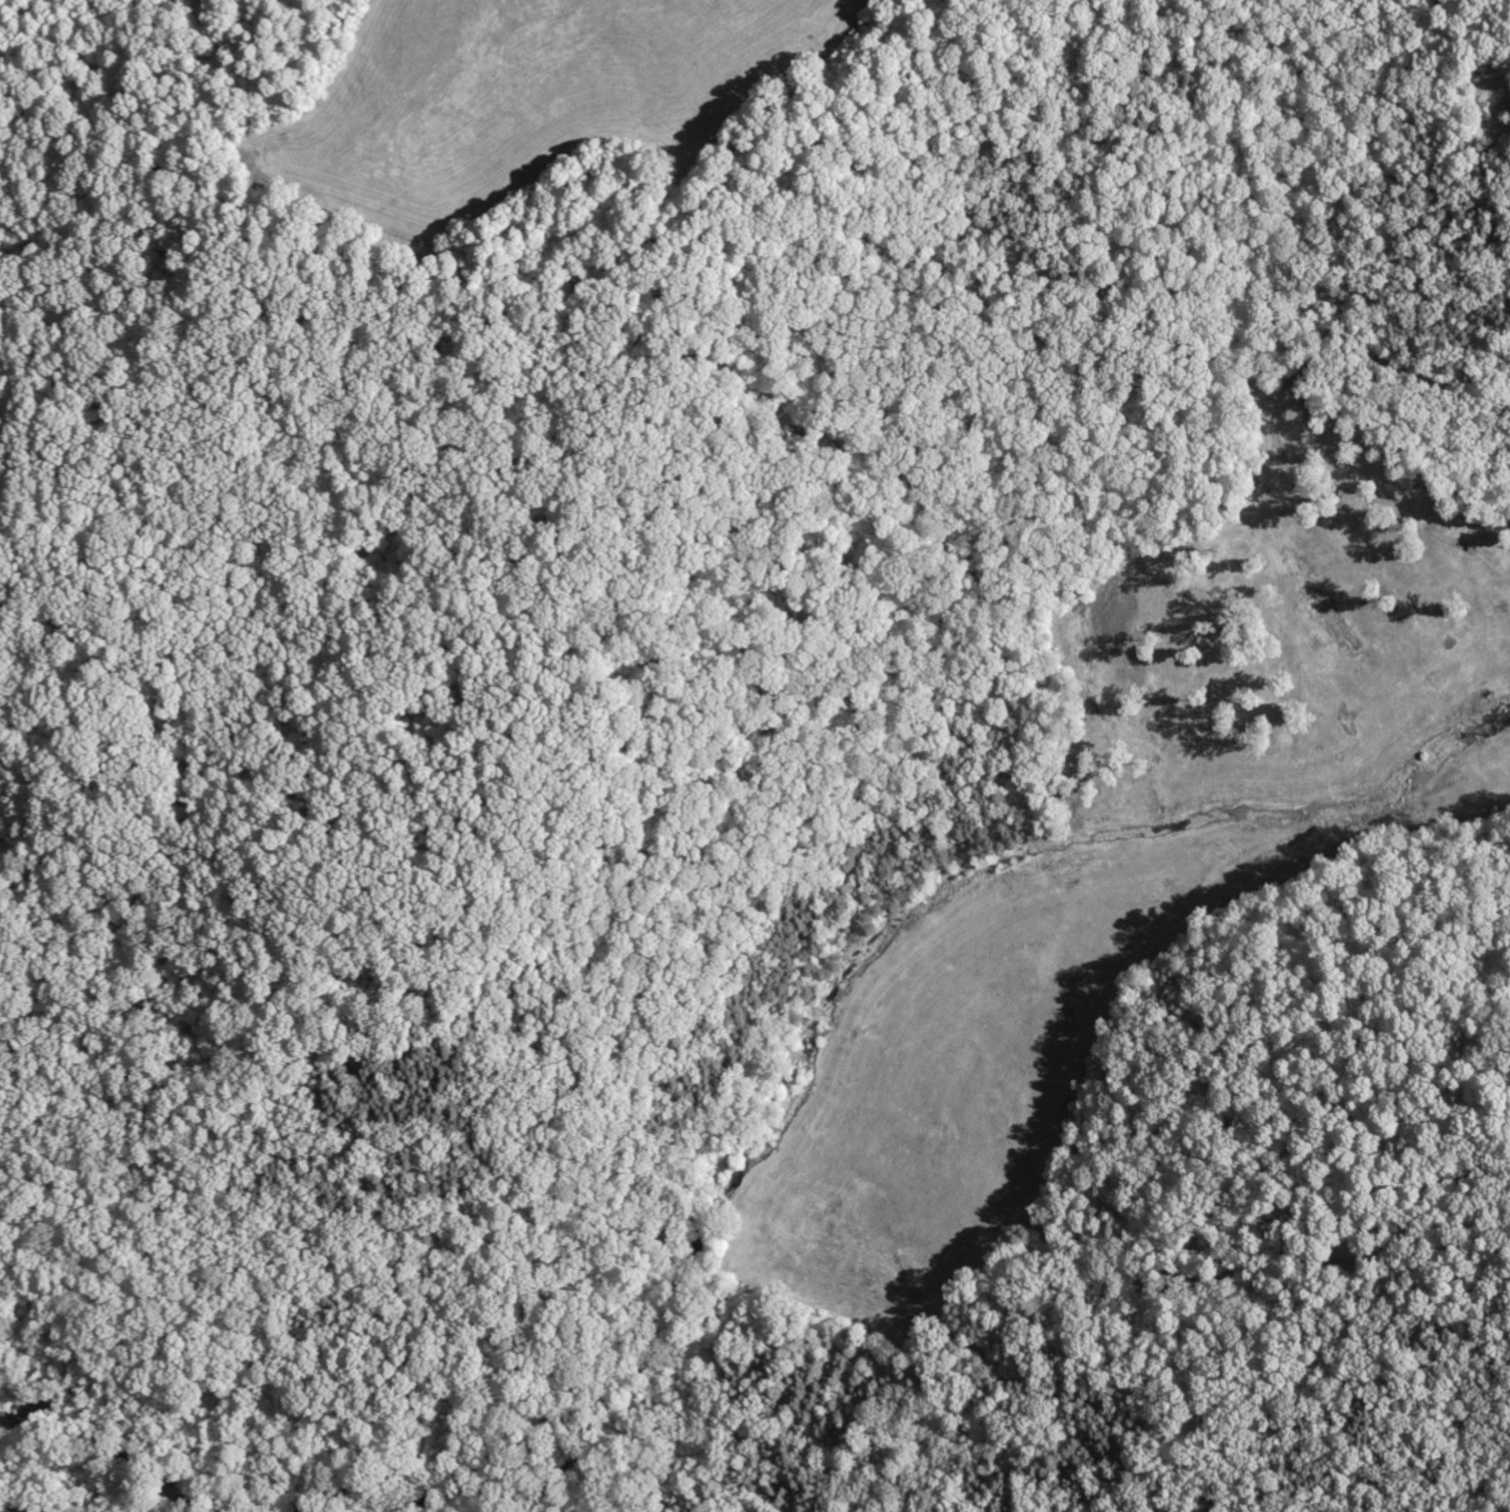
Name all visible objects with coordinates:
road: (294, 77)

